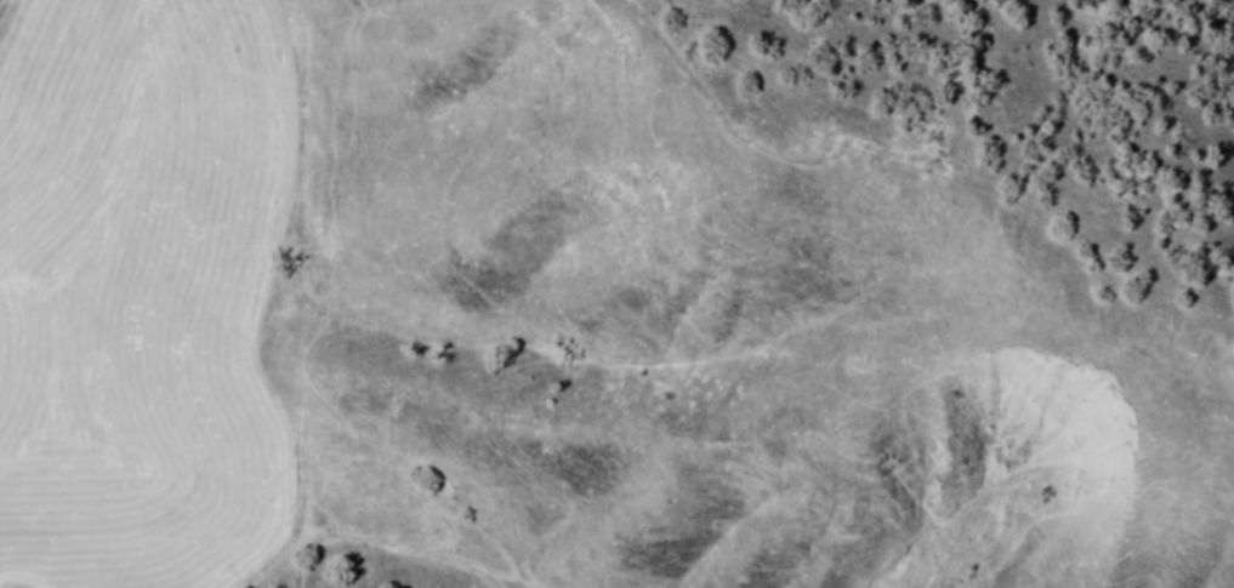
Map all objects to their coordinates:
road: (34, 13)

